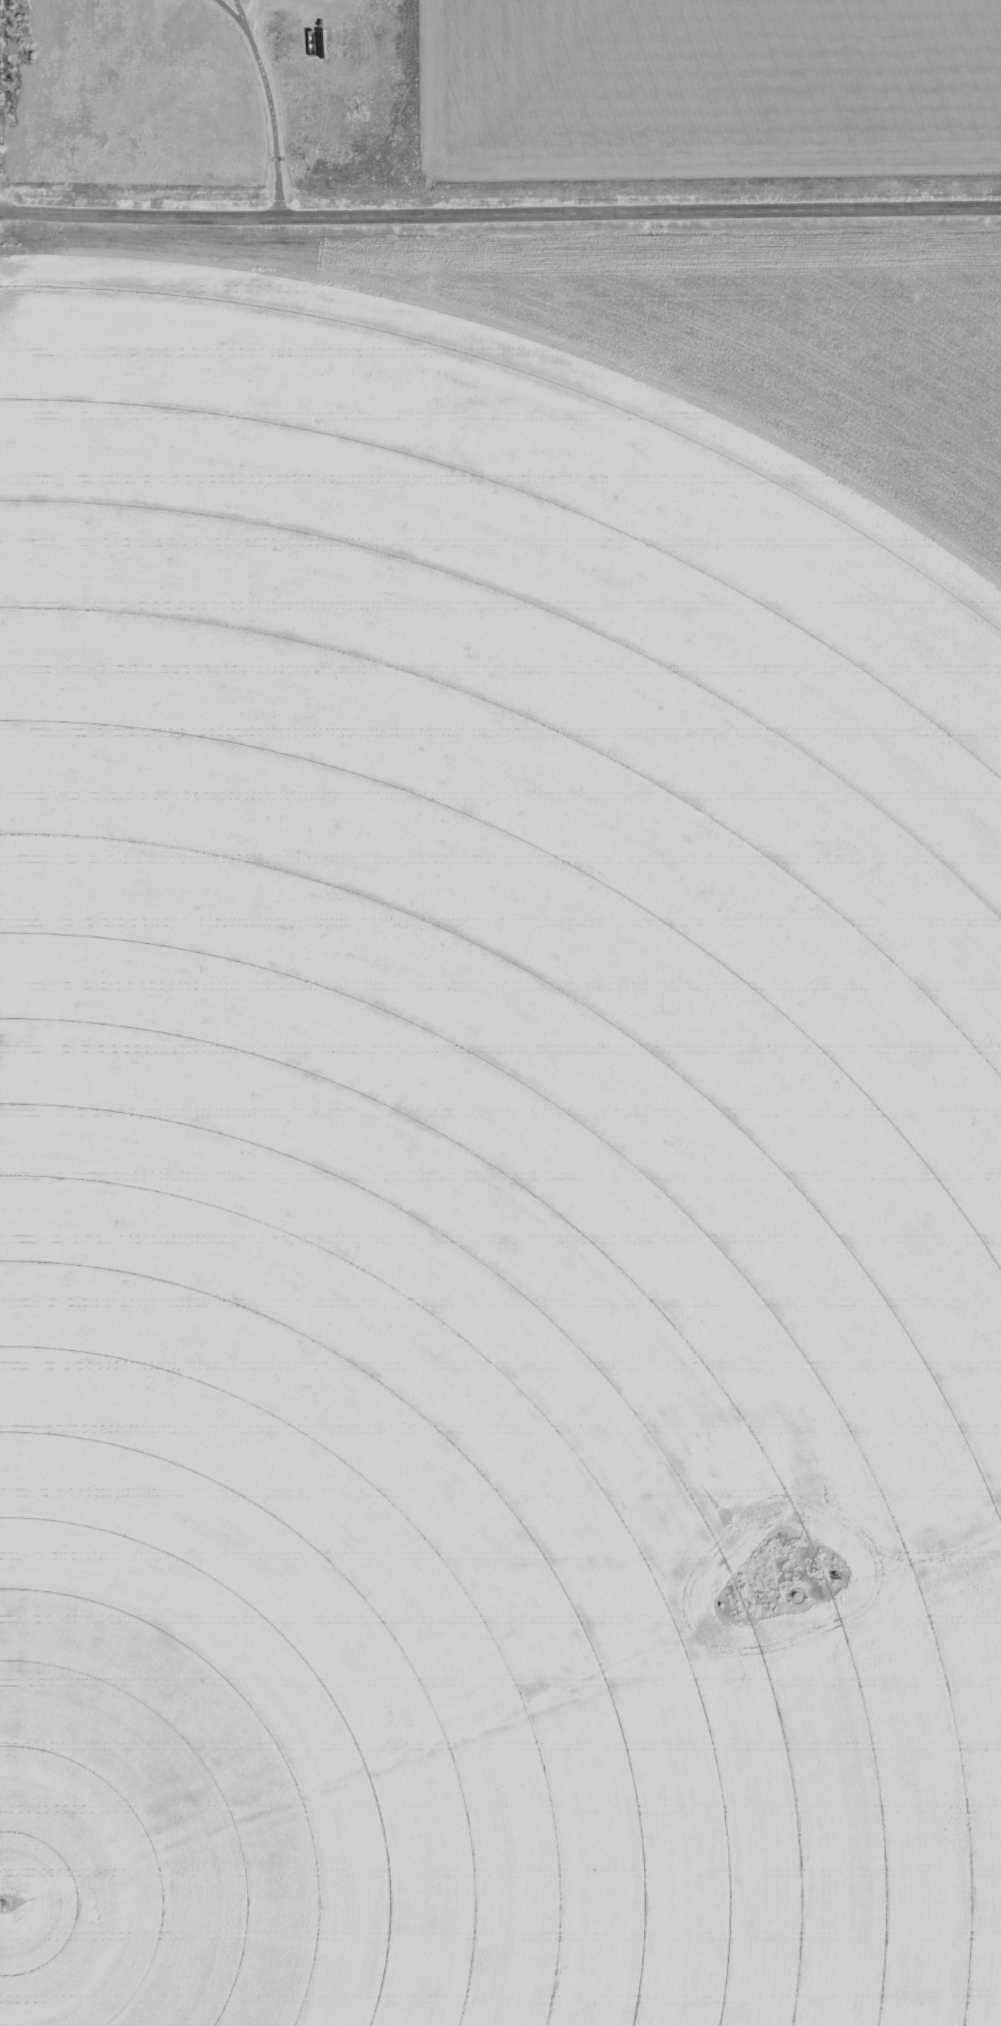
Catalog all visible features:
road: (500, 220)

